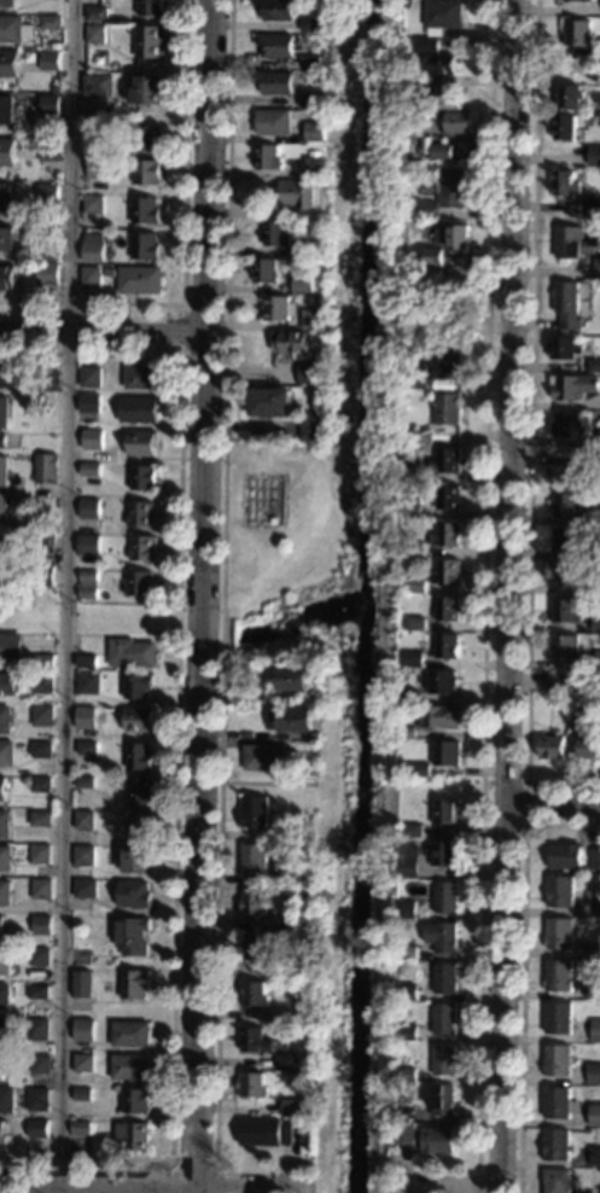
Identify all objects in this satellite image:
building: (567, 0)
building: (587, 0)
building: (7, 4)
building: (410, 4)
building: (150, 7)
building: (279, 10)
building: (445, 13)
building: (97, 14)
building: (51, 23)
building: (313, 25)
building: (29, 27)
building: (11, 29)
building: (577, 33)
building: (95, 34)
building: (151, 42)
building: (427, 45)
building: (276, 46)
building: (407, 52)
building: (49, 60)
building: (313, 62)
building: (8, 64)
building: (442, 64)
building: (420, 80)
building: (278, 83)
building: (98, 86)
building: (148, 91)
building: (570, 95)
building: (445, 99)
building: (313, 100)
building: (36, 105)
building: (49, 105)
building: (6, 110)
building: (588, 121)
building: (275, 122)
building: (459, 123)
building: (565, 127)
building: (316, 133)
building: (99, 136)
building: (150, 139)
building: (51, 150)
building: (6, 152)
building: (442, 152)
building: (594, 155)
building: (269, 157)
building: (316, 164)
building: (429, 164)
building: (98, 169)
building: (147, 173)
building: (565, 184)
building: (319, 185)
building: (454, 188)
building: (49, 193)
building: (298, 193)
building: (5, 197)
building: (94, 204)
building: (594, 206)
building: (430, 209)
building: (146, 211)
building: (98, 229)
building: (278, 234)
building: (7, 239)
building: (448, 243)
building: (572, 243)
road: (185, 244)
building: (145, 246)
building: (93, 248)
building: (308, 248)
building: (51, 252)
building: (34, 267)
building: (596, 268)
building: (267, 270)
building: (110, 273)
building: (48, 274)
building: (91, 277)
building: (7, 278)
building: (407, 279)
building: (140, 280)
building: (304, 283)
building: (461, 302)
building: (569, 305)
building: (281, 308)
building: (453, 314)
building: (314, 320)
road: (104, 330)
building: (292, 343)
building: (564, 348)
road: (184, 351)
building: (447, 361)
building: (594, 366)
building: (311, 373)
building: (7, 377)
building: (91, 377)
building: (142, 377)
building: (418, 377)
building: (49, 382)
building: (575, 386)
building: (91, 403)
building: (274, 403)
building: (448, 408)
building: (139, 409)
building: (4, 420)
building: (569, 425)
building: (313, 427)
road: (531, 427)
building: (93, 435)
building: (419, 437)
building: (144, 443)
building: (448, 460)
building: (47, 469)
building: (92, 470)
building: (415, 475)
building: (144, 477)
building: (5, 494)
building: (450, 499)
building: (567, 505)
building: (413, 508)
building: (91, 510)
building: (141, 513)
building: (448, 535)
building: (566, 539)
building: (45, 543)
building: (89, 545)
building: (2, 547)
building: (144, 548)
building: (415, 549)
building: (561, 570)
building: (448, 572)
building: (43, 575)
road: (223, 581)
building: (2, 582)
building: (141, 583)
road: (484, 583)
building: (89, 584)
building: (416, 587)
building: (595, 589)
road: (66, 596)
road: (204, 596)
river: (362, 596)
road: (512, 596)
building: (448, 610)
building: (565, 611)
river: (299, 622)
building: (416, 624)
building: (596, 625)
building: (11, 646)
building: (449, 647)
building: (565, 647)
building: (132, 653)
building: (414, 659)
building: (598, 660)
building: (45, 662)
building: (87, 662)
building: (315, 671)
building: (292, 679)
building: (443, 681)
building: (557, 682)
building: (8, 683)
building: (43, 683)
building: (89, 683)
building: (138, 686)
building: (407, 696)
building: (579, 700)
building: (43, 716)
building: (86, 717)
building: (441, 717)
building: (5, 720)
building: (140, 720)
building: (292, 720)
building: (407, 733)
building: (316, 737)
building: (552, 746)
building: (314, 747)
building: (589, 747)
building: (88, 749)
building: (42, 750)
road: (177, 751)
building: (6, 753)
building: (445, 753)
building: (140, 757)
building: (266, 757)
building: (420, 770)
building: (85, 782)
building: (41, 785)
building: (2, 788)
building: (141, 791)
road: (526, 803)
road: (555, 810)
building: (447, 811)
building: (256, 813)
building: (41, 819)
building: (85, 820)
building: (4, 824)
building: (141, 826)
building: (413, 831)
building: (290, 834)
building: (307, 834)
building: (85, 840)
building: (40, 854)
building: (445, 854)
building: (85, 855)
building: (565, 857)
building: (5, 859)
building: (255, 860)
building: (594, 860)
building: (139, 861)
building: (408, 862)
building: (298, 879)
building: (42, 889)
building: (86, 889)
building: (560, 891)
building: (5, 894)
building: (134, 895)
building: (447, 897)
building: (254, 902)
building: (598, 907)
building: (408, 912)
building: (298, 923)
building: (42, 925)
building: (1, 927)
building: (560, 933)
building: (132, 935)
building: (443, 936)
building: (254, 947)
building: (589, 950)
building: (404, 953)
building: (40, 958)
building: (5, 962)
building: (297, 968)
road: (523, 971)
building: (559, 976)
building: (445, 978)
building: (82, 984)
building: (135, 984)
building: (594, 990)
building: (39, 991)
building: (408, 993)
building: (255, 994)
building: (4, 997)
building: (559, 1018)
building: (445, 1019)
building: (37, 1030)
building: (85, 1030)
building: (5, 1031)
building: (596, 1031)
building: (407, 1032)
building: (130, 1035)
building: (256, 1041)
building: (89, 1047)
building: (445, 1060)
building: (558, 1060)
building: (286, 1061)
building: (83, 1063)
building: (40, 1064)
building: (1, 1065)
building: (130, 1067)
building: (594, 1073)
building: (407, 1075)
building: (252, 1086)
building: (82, 1094)
building: (7, 1100)
building: (37, 1100)
building: (443, 1100)
building: (136, 1101)
building: (560, 1102)
building: (292, 1106)
building: (595, 1115)
building: (81, 1128)
building: (37, 1129)
building: (264, 1133)
building: (4, 1134)
building: (134, 1136)
building: (427, 1139)
building: (557, 1145)
building: (596, 1156)
road: (193, 1162)
road: (487, 1169)
road: (171, 1176)
road: (217, 1179)
building: (558, 1181)
road: (98, 1183)
road: (254, 1186)
road: (450, 1191)

